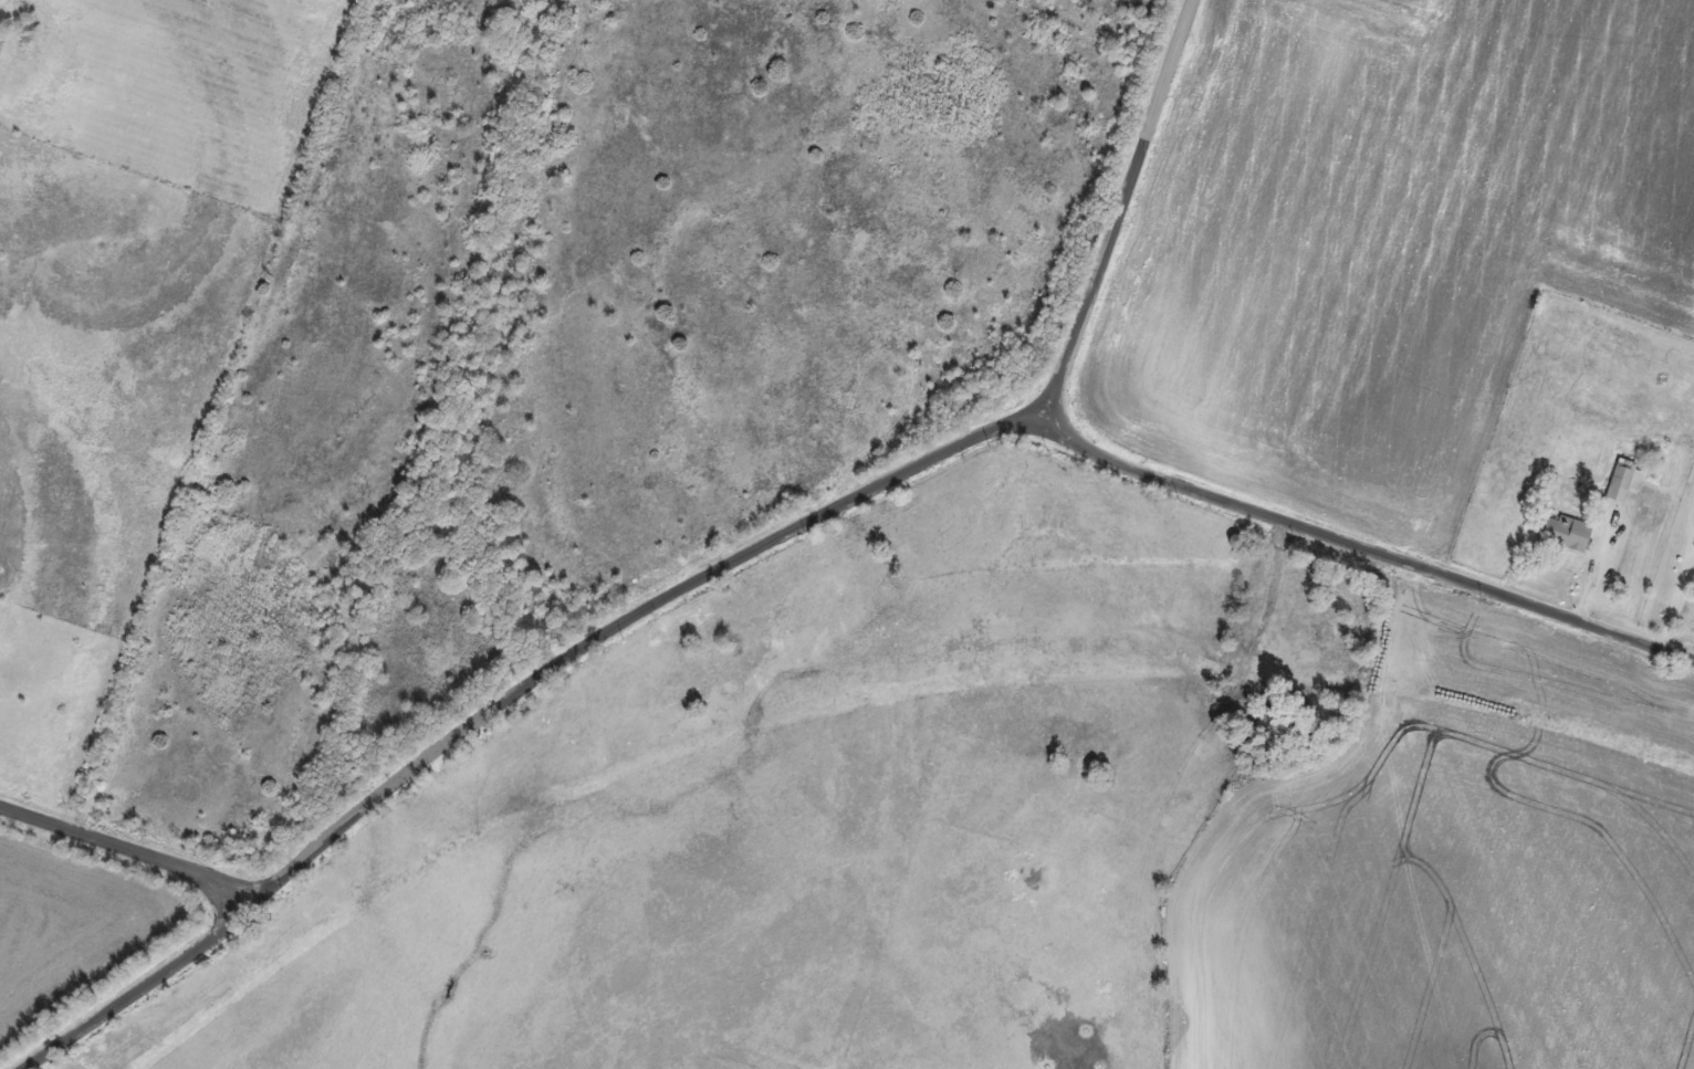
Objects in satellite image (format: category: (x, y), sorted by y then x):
building: (1625, 482)
building: (1566, 533)
building: (1237, 543)
road: (1373, 650)
road: (848, 674)
road: (147, 868)

